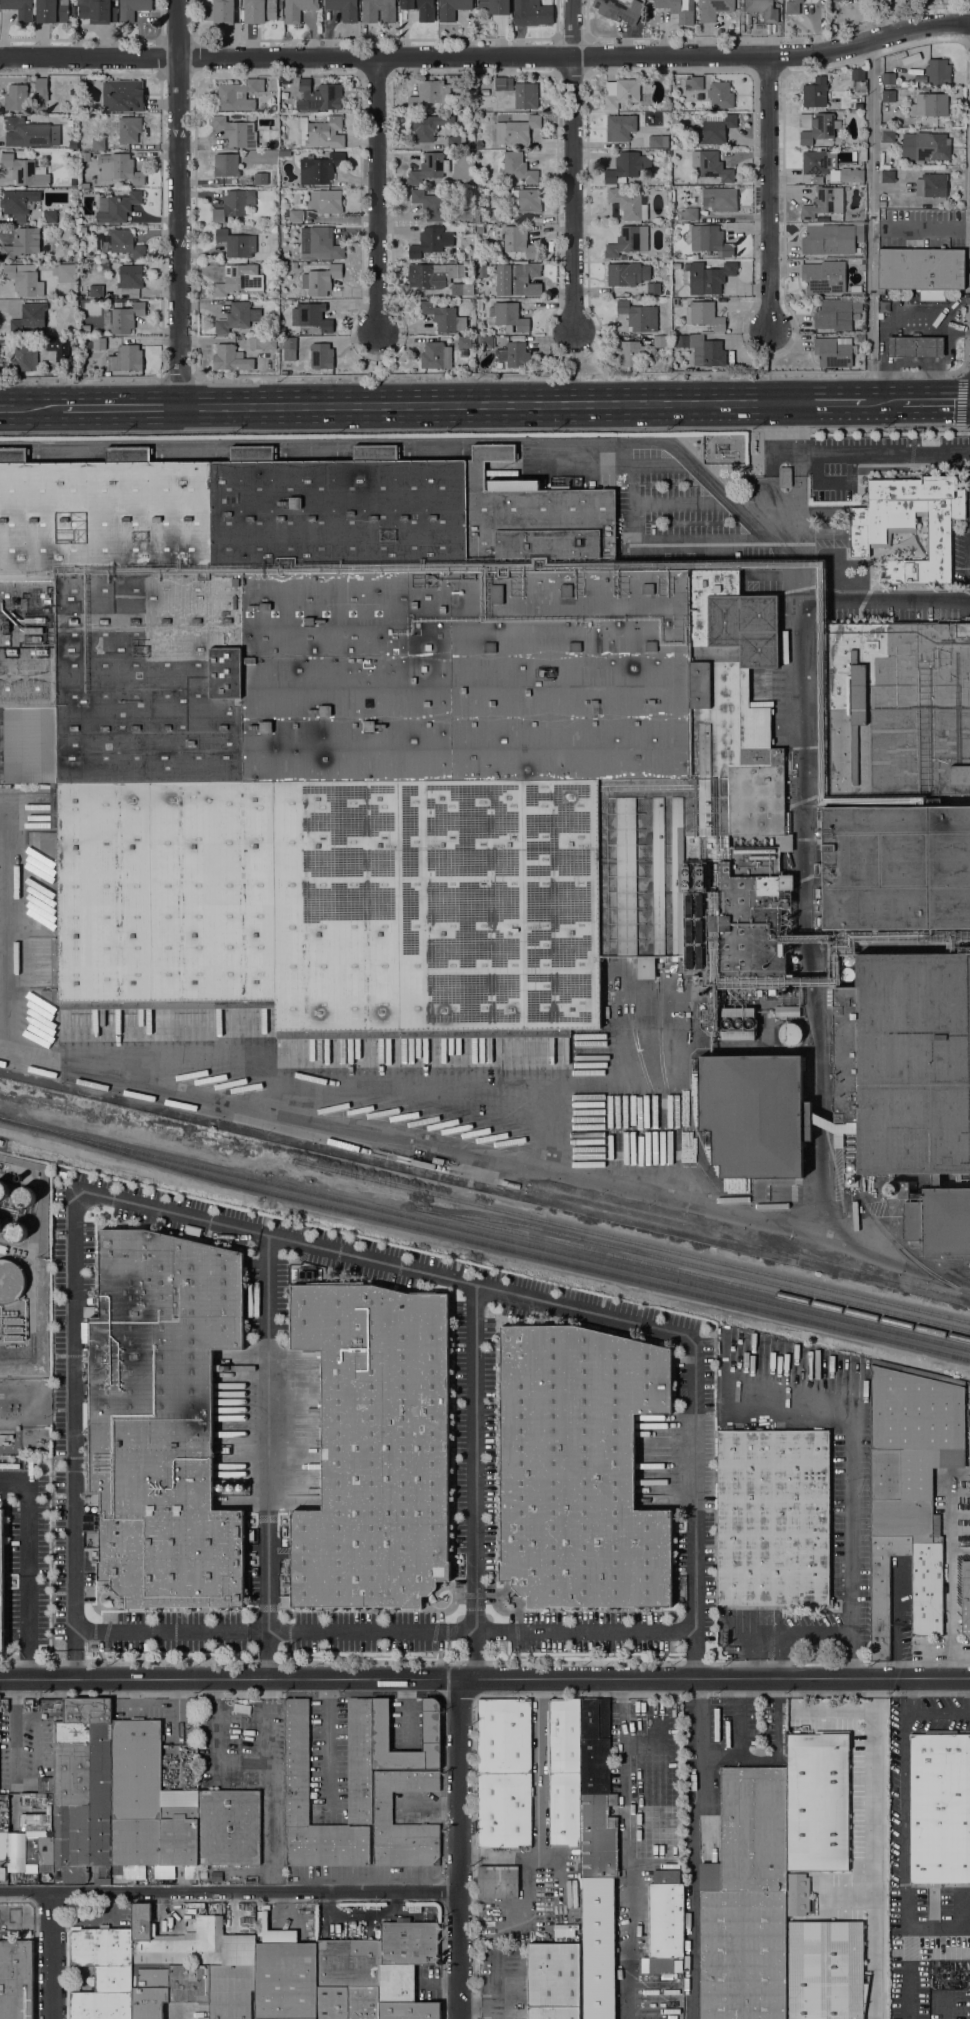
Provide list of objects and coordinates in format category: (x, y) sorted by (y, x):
building: (779, 0)
building: (838, 0)
building: (280, 4)
building: (494, 6)
building: (792, 7)
building: (19, 8)
building: (452, 8)
building: (132, 9)
building: (297, 9)
building: (344, 9)
building: (421, 9)
building: (619, 9)
building: (678, 9)
building: (715, 9)
building: (763, 9)
building: (259, 10)
building: (52, 11)
building: (96, 11)
building: (218, 11)
building: (378, 11)
building: (531, 13)
road: (487, 56)
building: (911, 59)
building: (938, 69)
building: (888, 78)
building: (920, 78)
building: (284, 80)
building: (858, 80)
building: (696, 83)
building: (908, 83)
building: (504, 84)
building: (41, 88)
building: (621, 92)
building: (464, 93)
building: (815, 93)
building: (430, 94)
building: (123, 95)
building: (237, 95)
building: (525, 95)
building: (720, 95)
building: (319, 96)
building: (888, 96)
building: (16, 97)
building: (929, 105)
building: (492, 108)
building: (311, 117)
building: (428, 126)
building: (882, 126)
building: (620, 127)
building: (817, 127)
building: (129, 129)
building: (718, 129)
building: (516, 130)
building: (236, 132)
building: (322, 132)
building: (29, 133)
building: (887, 135)
building: (658, 141)
building: (453, 142)
building: (827, 143)
building: (98, 144)
building: (925, 146)
building: (666, 151)
building: (284, 153)
building: (863, 153)
building: (816, 162)
building: (226, 165)
building: (514, 166)
road: (572, 166)
building: (711, 166)
building: (121, 167)
building: (626, 167)
building: (320, 168)
building: (429, 168)
building: (25, 171)
building: (851, 176)
building: (887, 176)
building: (834, 177)
building: (260, 178)
building: (931, 185)
road: (376, 195)
road: (769, 195)
building: (525, 199)
building: (719, 199)
building: (326, 201)
road: (178, 202)
building: (823, 202)
building: (19, 203)
building: (234, 204)
building: (429, 204)
building: (627, 204)
building: (117, 207)
building: (690, 214)
building: (295, 215)
building: (49, 216)
building: (482, 216)
building: (498, 216)
building: (477, 217)
road: (872, 220)
building: (815, 223)
building: (220, 224)
building: (479, 229)
building: (84, 230)
building: (57, 231)
building: (832, 238)
building: (709, 240)
building: (19, 241)
building: (518, 241)
building: (628, 241)
building: (427, 242)
building: (123, 243)
building: (236, 243)
building: (319, 244)
building: (694, 256)
building: (96, 257)
building: (624, 257)
building: (293, 265)
building: (921, 269)
building: (65, 272)
building: (627, 274)
building: (430, 275)
building: (129, 276)
building: (708, 277)
building: (824, 277)
building: (24, 279)
building: (238, 279)
building: (518, 279)
building: (320, 280)
building: (653, 288)
building: (461, 289)
building: (96, 291)
building: (856, 291)
building: (881, 291)
building: (482, 293)
building: (933, 295)
building: (240, 296)
building: (884, 306)
building: (837, 313)
building: (704, 315)
building: (507, 316)
building: (638, 316)
building: (880, 316)
building: (29, 317)
building: (238, 317)
building: (311, 317)
building: (443, 317)
building: (126, 318)
building: (87, 328)
building: (676, 329)
building: (38, 331)
building: (685, 332)
building: (860, 338)
building: (64, 341)
building: (659, 341)
building: (463, 342)
building: (485, 342)
building: (98, 343)
building: (262, 343)
building: (53, 344)
building: (915, 347)
gas station: (915, 347)
building: (288, 348)
building: (701, 349)
building: (834, 351)
building: (629, 353)
road: (377, 354)
road: (573, 354)
road: (770, 354)
building: (44, 355)
building: (436, 355)
building: (515, 355)
building: (321, 356)
building: (24, 358)
building: (126, 358)
building: (230, 358)
building: (499, 365)
road: (578, 374)
road: (81, 377)
road: (178, 377)
road: (964, 396)
road: (883, 400)
road: (935, 400)
road: (826, 401)
road: (482, 403)
road: (119, 406)
road: (30, 407)
road: (484, 430)
road: (961, 451)
road: (853, 453)
building: (785, 477)
building: (909, 524)
building: (897, 708)
building: (379, 742)
building: (787, 821)
building: (896, 867)
building: (848, 960)
building: (847, 974)
building: (761, 993)
building: (786, 1011)
building: (738, 1024)
building: (790, 1034)
building: (910, 1082)
building: (755, 1118)
building: (833, 1126)
building: (1, 1142)
building: (437, 1161)
building: (18, 1178)
building: (3, 1190)
building: (889, 1190)
building: (903, 1190)
building: (24, 1197)
railway: (665, 1215)
building: (129, 1216)
building: (0, 1226)
building: (16, 1232)
railway: (485, 1233)
railway: (633, 1240)
railway: (484, 1242)
railway: (748, 1244)
railway: (898, 1245)
road: (314, 1248)
railway: (704, 1267)
railway: (692, 1272)
building: (11, 1281)
parking lot: (72, 1410)
building: (162, 1418)
building: (374, 1448)
road: (268, 1458)
building: (579, 1468)
building: (914, 1472)
road: (476, 1483)
building: (773, 1519)
road: (849, 1520)
road: (29, 1567)
road: (951, 1576)
parking lot: (29, 1577)
building: (1, 1580)
building: (883, 1590)
building: (965, 1598)
road: (385, 1633)
road: (815, 1634)
road: (485, 1679)
road: (268, 1690)
building: (241, 1708)
road: (818, 1712)
road: (941, 1713)
road: (14, 1728)
building: (380, 1729)
road: (267, 1734)
road: (328, 1742)
road: (215, 1749)
building: (564, 1771)
building: (504, 1773)
building: (596, 1793)
building: (359, 1796)
building: (817, 1801)
building: (130, 1806)
building: (383, 1807)
road: (540, 1807)
road: (428, 1808)
building: (939, 1808)
road: (268, 1829)
road: (903, 1837)
road: (459, 1848)
road: (692, 1848)
road: (630, 1849)
road: (875, 1849)
building: (2, 1873)
building: (666, 1874)
building: (202, 1875)
building: (498, 1882)
road: (229, 1891)
building: (796, 1894)
building: (746, 1900)
building: (665, 1924)
building: (208, 1941)
building: (157, 1943)
building: (407, 1943)
building: (598, 1948)
building: (553, 1952)
road: (54, 1955)
building: (347, 1963)
building: (825, 1970)
building: (102, 1972)
building: (285, 1975)
building: (15, 1979)
building: (189, 1983)
building: (396, 1983)
building: (553, 1990)
building: (149, 1991)
building: (231, 1991)
building: (332, 2003)
building: (363, 2003)
road: (946, 2006)
building: (408, 2010)

